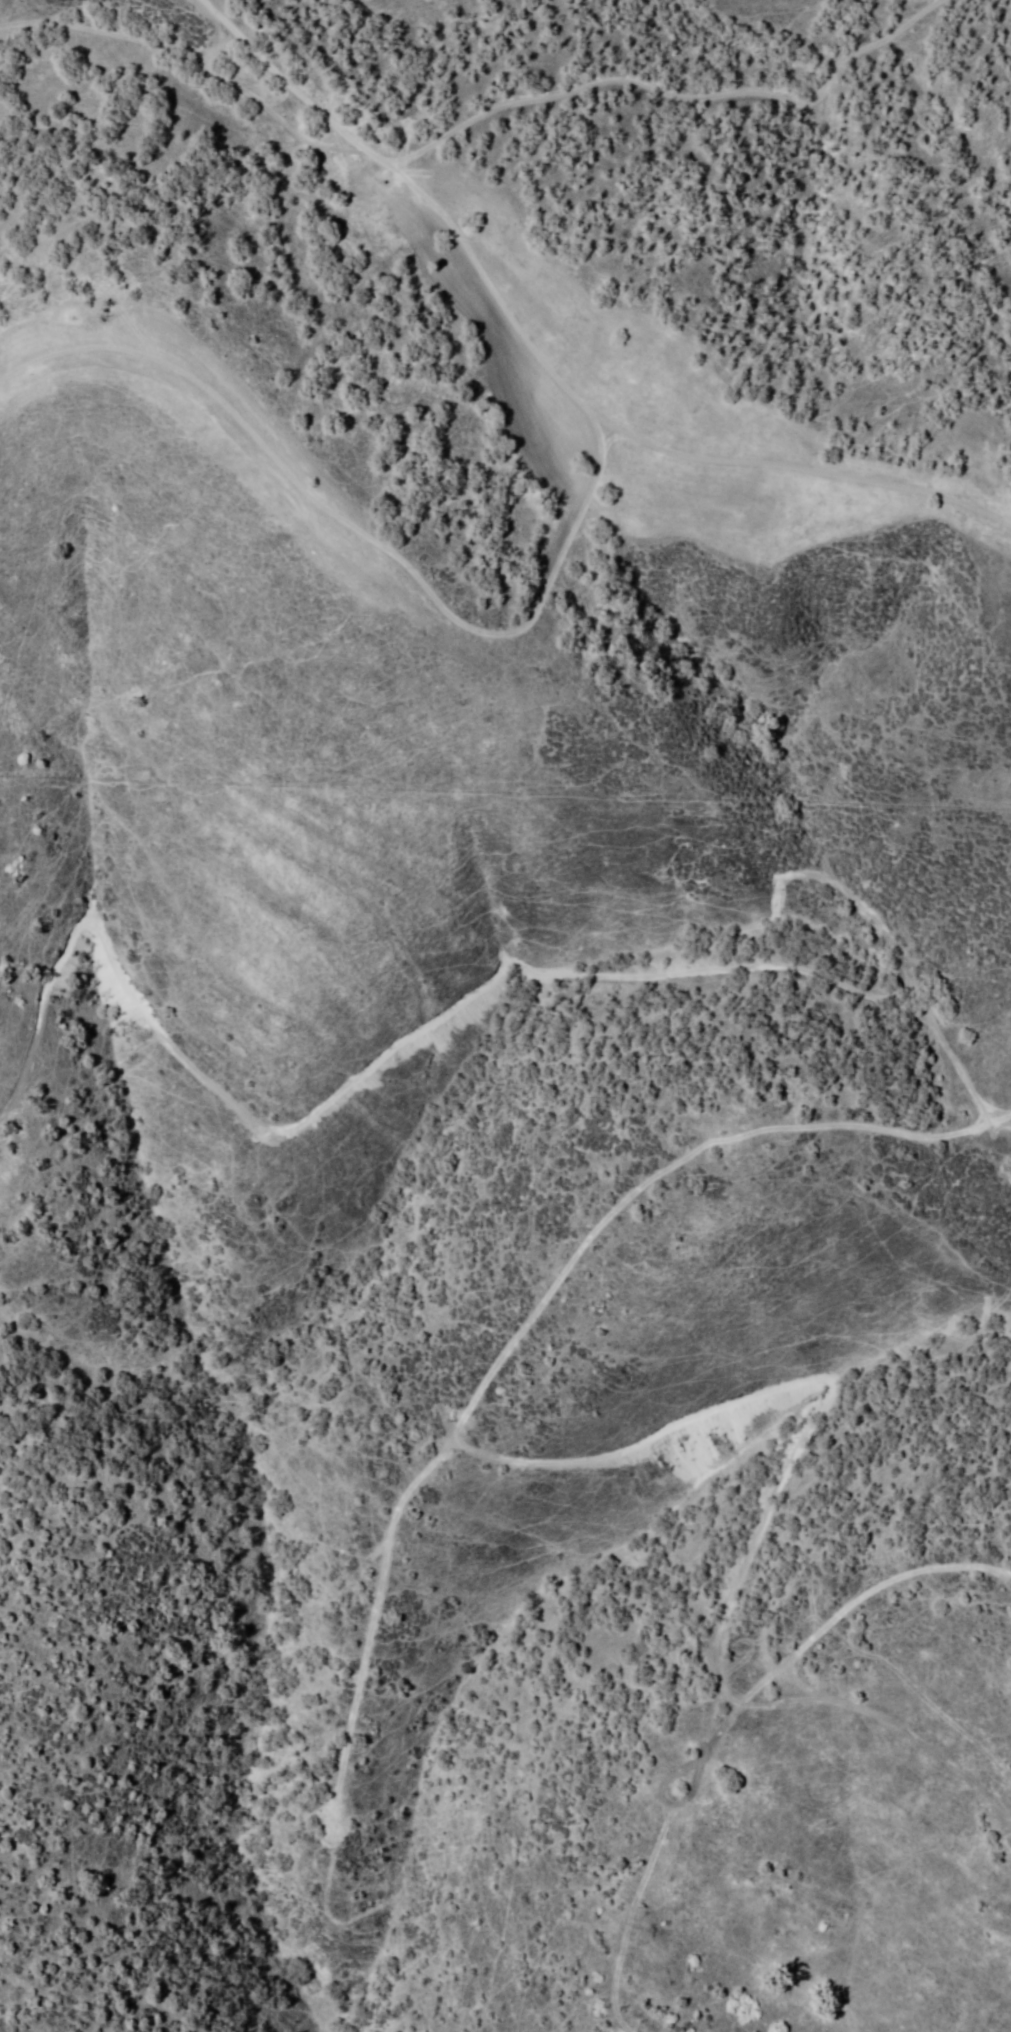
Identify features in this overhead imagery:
road: (667, 93)
road: (548, 364)
road: (351, 544)

